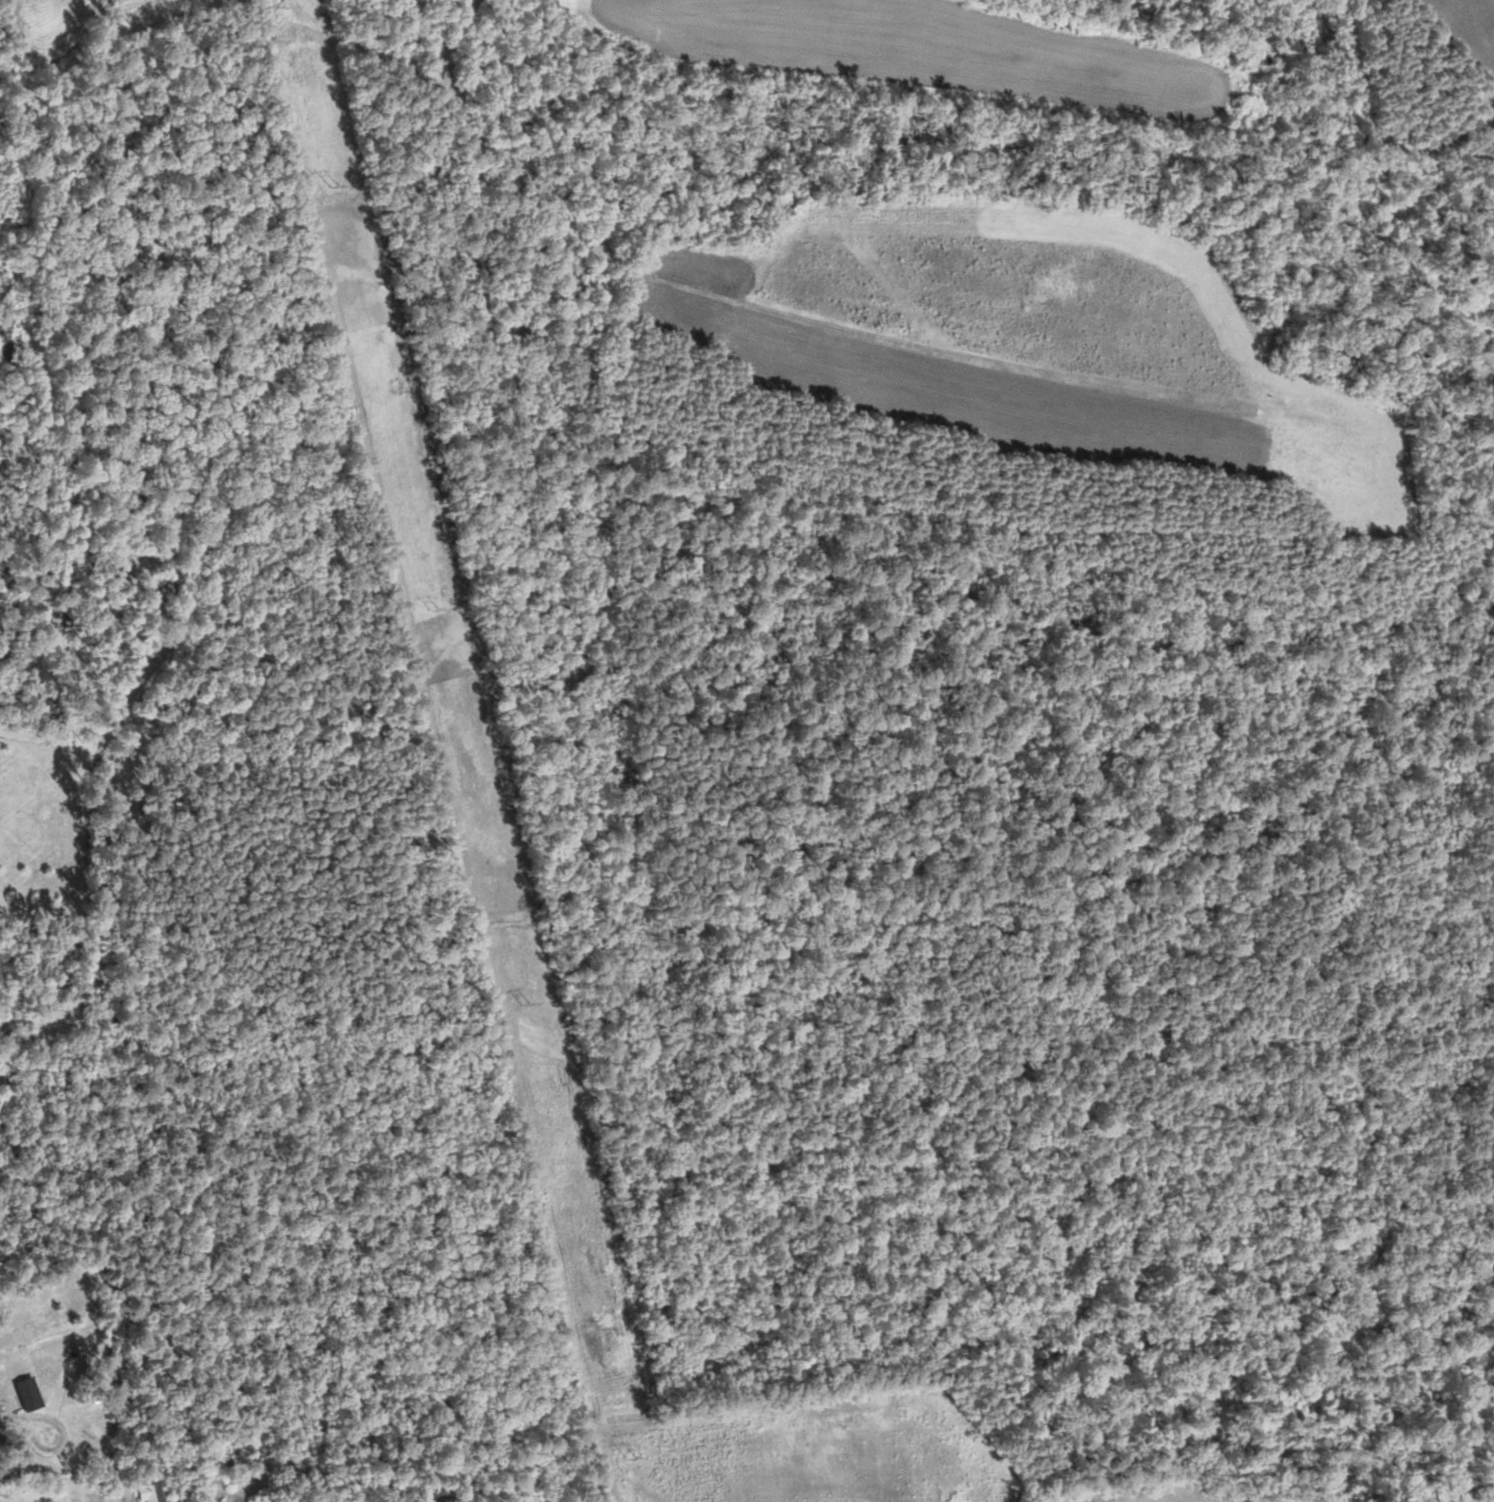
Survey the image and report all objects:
power tower: (329, 180)
power tower: (431, 606)
power tower: (520, 1002)
building: (36, 1394)
power tower: (628, 1455)
building: (149, 1493)

